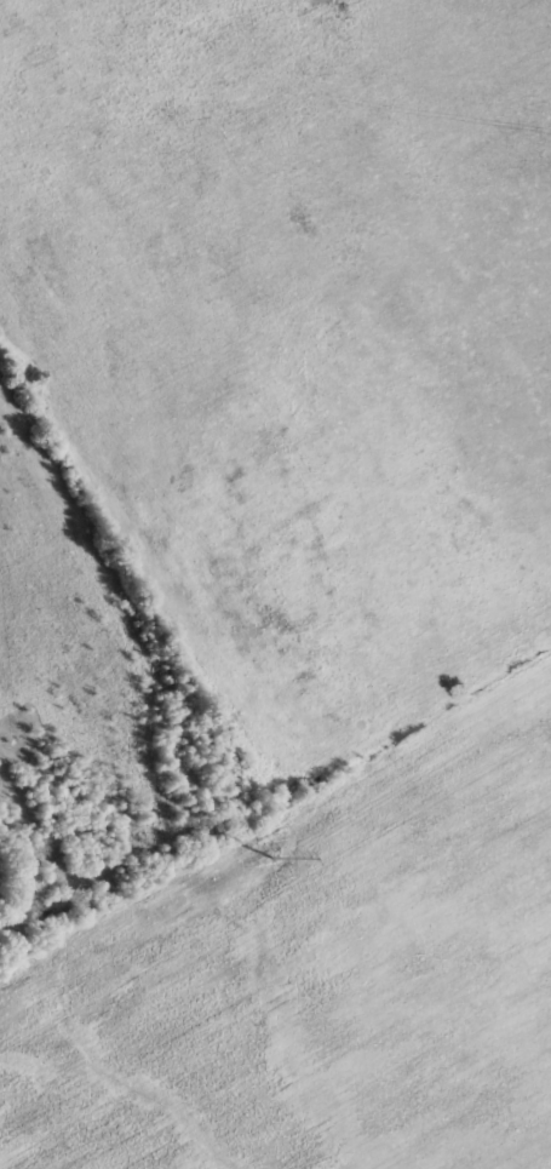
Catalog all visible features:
power tower: (271, 859)

